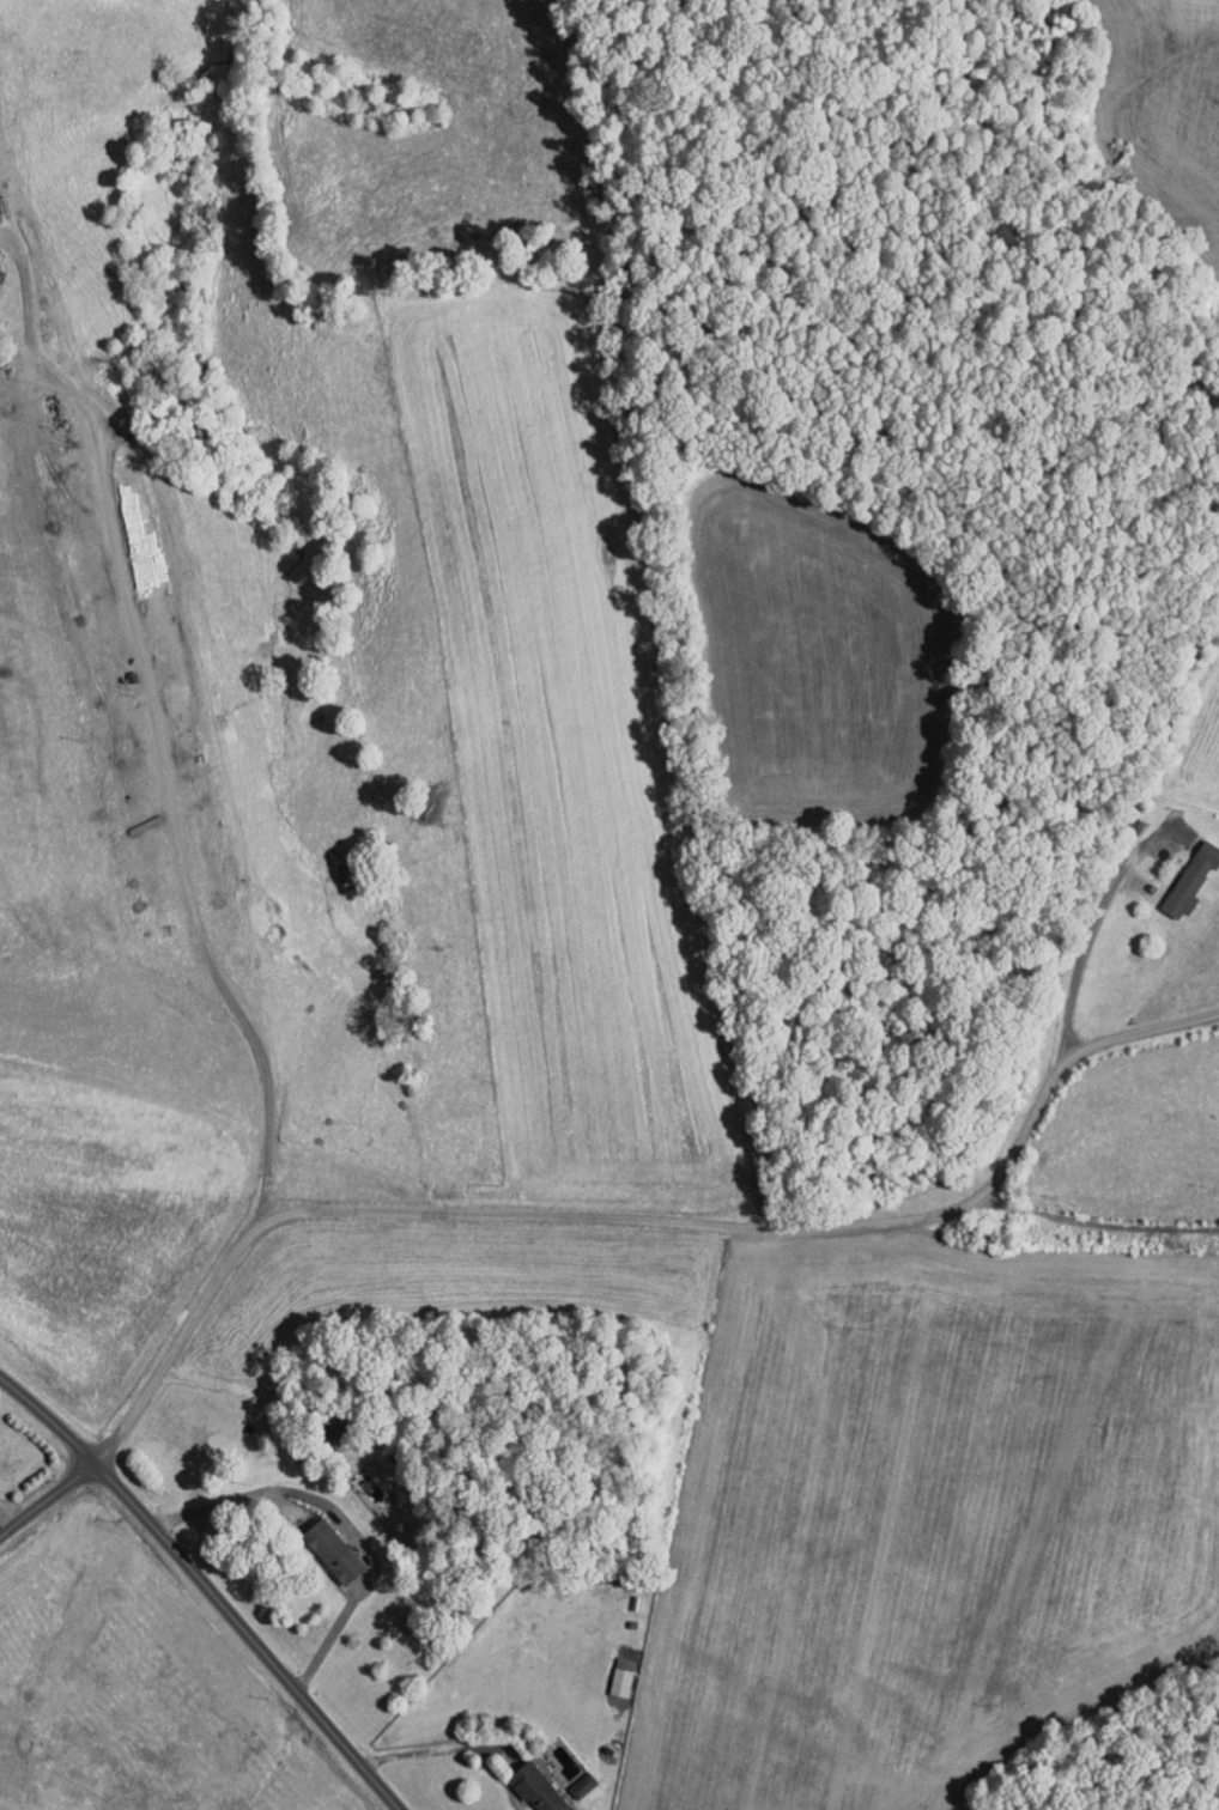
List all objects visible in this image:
road: (140, 724)
building: (1177, 870)
road: (1080, 913)
road: (629, 1210)
road: (40, 1415)
road: (38, 1484)
road: (4, 1507)
building: (317, 1543)
road: (238, 1630)
building: (607, 1670)
building: (566, 1778)
building: (522, 1782)

